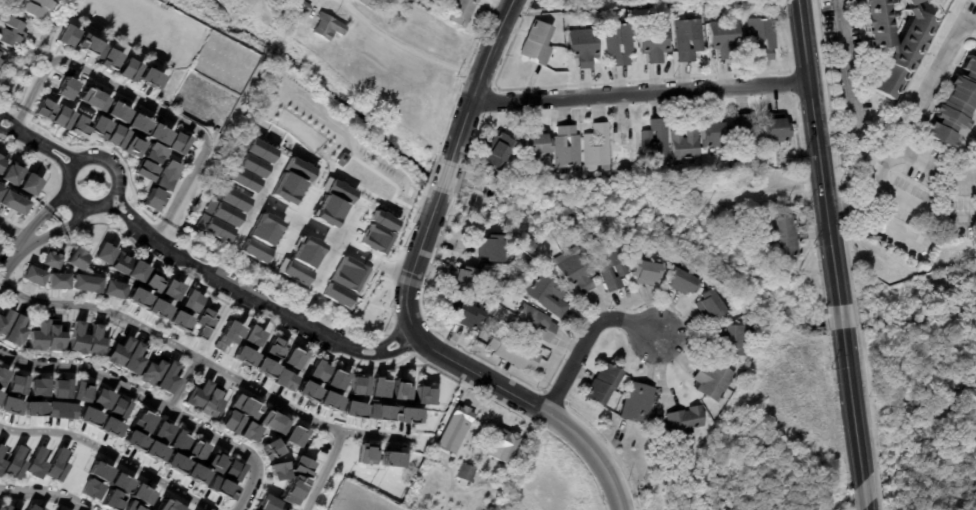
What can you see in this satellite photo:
building: (596, 0)
building: (369, 4)
building: (36, 8)
building: (305, 8)
building: (461, 12)
building: (327, 28)
building: (11, 32)
building: (761, 36)
building: (725, 37)
building: (688, 38)
building: (655, 41)
building: (80, 42)
building: (537, 42)
building: (619, 42)
building: (584, 45)
road: (405, 46)
building: (900, 49)
building: (1, 58)
building: (109, 60)
building: (1, 64)
building: (128, 69)
building: (148, 78)
road: (476, 81)
building: (64, 88)
road: (640, 92)
road: (853, 94)
building: (92, 99)
road: (143, 102)
building: (953, 105)
building: (44, 110)
building: (116, 112)
road: (916, 113)
building: (70, 122)
building: (137, 123)
building: (99, 127)
building: (715, 131)
building: (775, 132)
building: (157, 134)
building: (744, 135)
building: (687, 138)
building: (657, 140)
road: (37, 141)
building: (124, 141)
building: (626, 142)
building: (176, 143)
building: (538, 143)
building: (567, 146)
building: (598, 147)
building: (255, 149)
building: (498, 149)
road: (819, 152)
building: (1, 161)
building: (149, 162)
road: (74, 163)
building: (248, 164)
road: (934, 169)
building: (296, 171)
building: (12, 173)
road: (444, 176)
building: (240, 178)
building: (30, 183)
building: (158, 186)
building: (283, 187)
building: (1, 188)
building: (336, 192)
building: (230, 197)
road: (258, 198)
road: (56, 199)
building: (13, 202)
road: (923, 210)
building: (322, 211)
building: (222, 214)
building: (374, 215)
road: (294, 216)
road: (298, 216)
road: (74, 217)
building: (748, 219)
road: (34, 221)
building: (266, 224)
road: (889, 227)
road: (13, 228)
building: (212, 230)
road: (44, 234)
building: (361, 234)
building: (787, 235)
building: (301, 245)
building: (531, 246)
building: (253, 248)
road: (354, 248)
building: (493, 248)
building: (105, 252)
road: (11, 254)
building: (52, 257)
road: (325, 257)
building: (77, 258)
building: (526, 260)
building: (121, 262)
building: (344, 265)
building: (290, 268)
building: (575, 269)
building: (621, 269)
building: (138, 270)
building: (646, 271)
building: (32, 275)
building: (57, 280)
building: (464, 280)
building: (150, 281)
building: (682, 281)
building: (85, 282)
building: (511, 285)
building: (113, 288)
building: (169, 288)
building: (332, 292)
building: (439, 293)
building: (546, 295)
building: (134, 296)
road: (256, 297)
building: (188, 300)
building: (710, 303)
building: (155, 307)
building: (465, 314)
road: (841, 318)
building: (5, 319)
building: (177, 320)
building: (201, 321)
building: (532, 323)
building: (16, 330)
building: (225, 334)
building: (250, 334)
building: (38, 336)
building: (54, 336)
building: (77, 338)
road: (583, 339)
building: (729, 340)
building: (95, 341)
building: (274, 347)
building: (510, 351)
building: (119, 352)
building: (242, 354)
building: (293, 357)
building: (134, 359)
road: (203, 360)
road: (369, 365)
building: (264, 366)
road: (467, 368)
building: (316, 370)
building: (153, 371)
building: (2, 375)
building: (168, 378)
building: (282, 378)
building: (336, 378)
building: (711, 379)
building: (14, 383)
road: (183, 383)
building: (357, 384)
building: (600, 384)
building: (36, 386)
building: (58, 387)
building: (377, 387)
building: (397, 388)
building: (306, 389)
building: (79, 390)
road: (135, 391)
building: (196, 394)
building: (419, 394)
building: (101, 398)
building: (327, 400)
building: (210, 401)
building: (635, 402)
building: (9, 405)
building: (242, 405)
road: (852, 406)
building: (118, 407)
building: (33, 408)
building: (350, 408)
building: (60, 410)
building: (379, 411)
building: (405, 414)
building: (87, 415)
building: (140, 420)
building: (229, 421)
building: (270, 421)
building: (683, 422)
building: (109, 427)
building: (453, 429)
building: (160, 430)
building: (246, 431)
building: (293, 434)
building: (132, 440)
building: (177, 440)
building: (502, 444)
building: (0, 447)
building: (269, 447)
building: (196, 449)
building: (151, 450)
road: (111, 453)
building: (364, 453)
building: (389, 459)
building: (214, 460)
building: (0, 461)
building: (12, 462)
building: (174, 462)
building: (33, 463)
building: (53, 465)
building: (300, 465)
building: (490, 467)
building: (232, 470)
road: (323, 470)
building: (99, 471)
building: (276, 471)
building: (193, 473)
building: (466, 473)
building: (119, 483)
building: (218, 487)
road: (248, 488)
building: (90, 489)
building: (291, 489)
road: (863, 493)
building: (141, 494)
road: (47, 495)
building: (111, 500)
building: (265, 503)
building: (168, 505)
building: (32, 506)
building: (132, 506)
building: (7, 507)
road: (865, 508)
building: (0, 509)
building: (147, 509)

